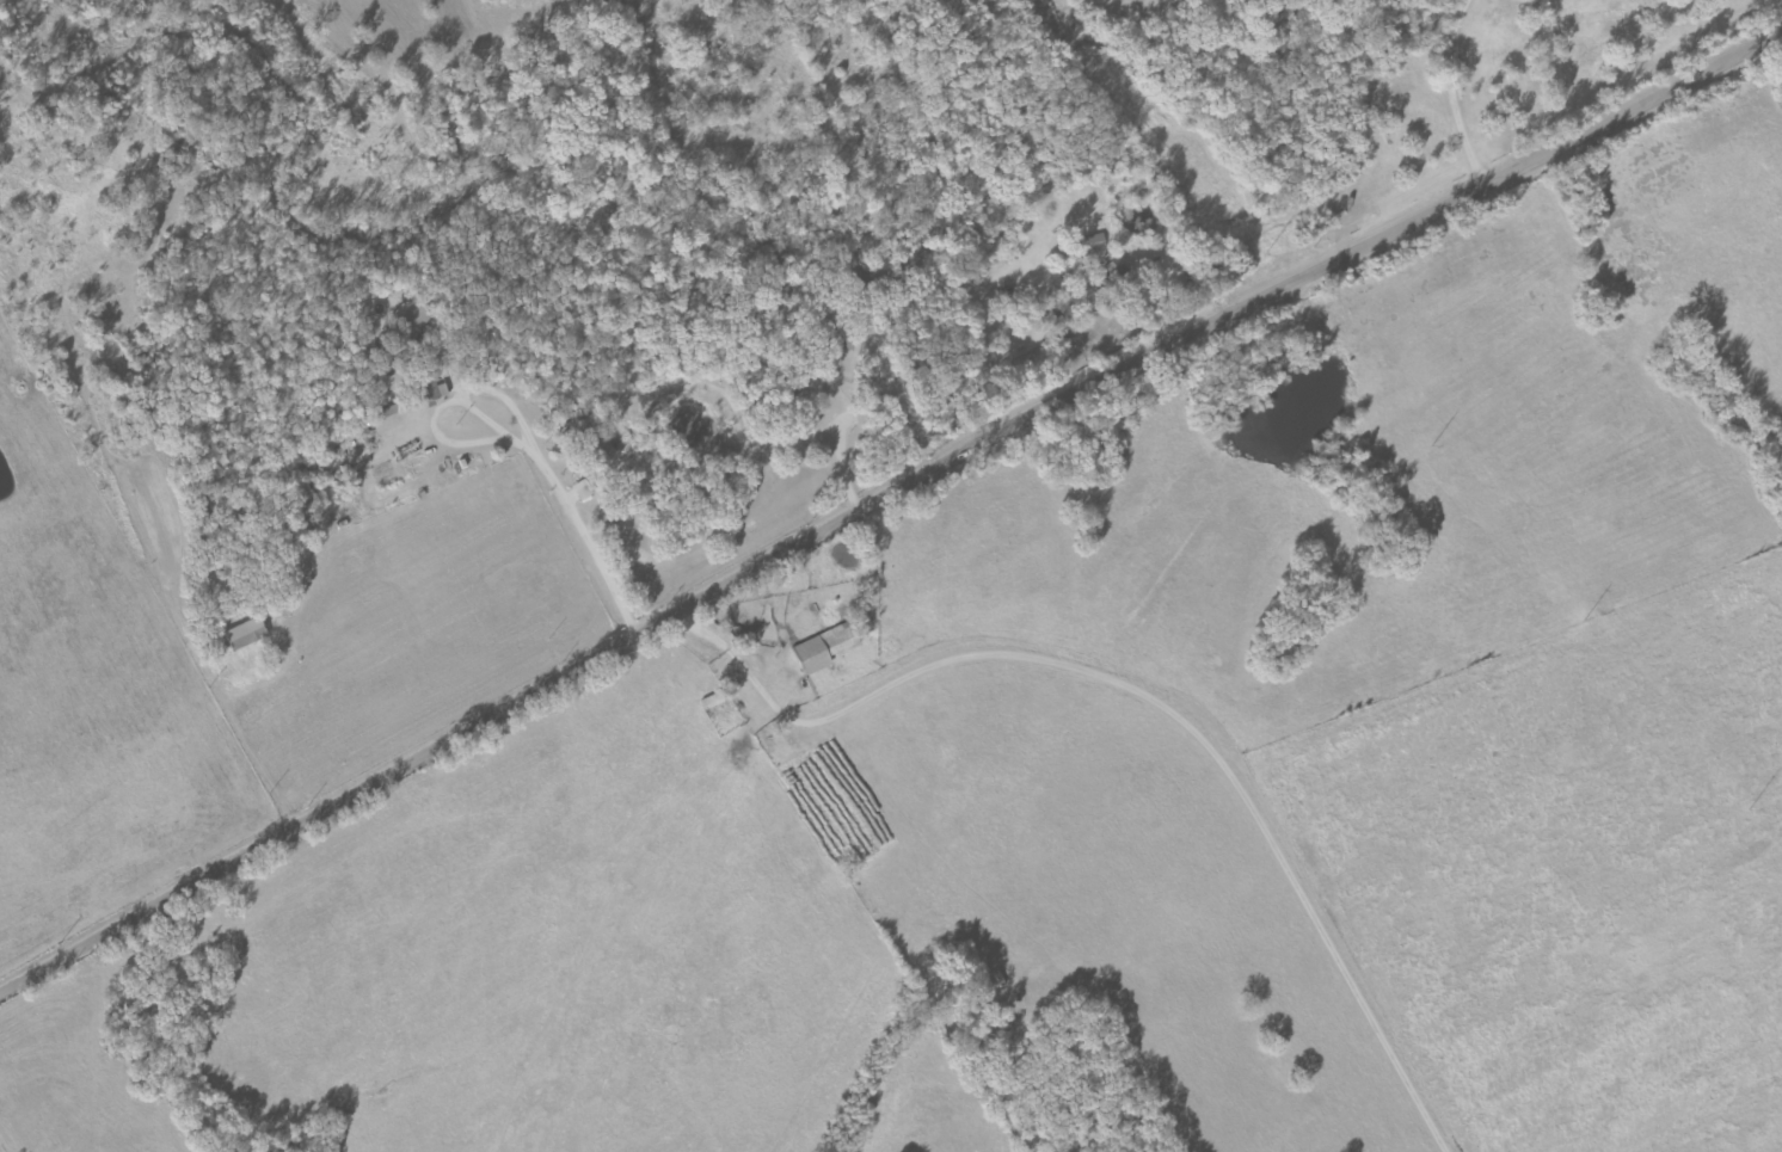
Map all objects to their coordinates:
building: (1098, 244)
building: (1122, 272)
building: (418, 318)
building: (842, 335)
building: (432, 390)
building: (386, 414)
building: (411, 451)
road: (434, 486)
road: (880, 498)
building: (248, 635)
building: (828, 649)
road: (20, 940)
road: (8, 1135)

